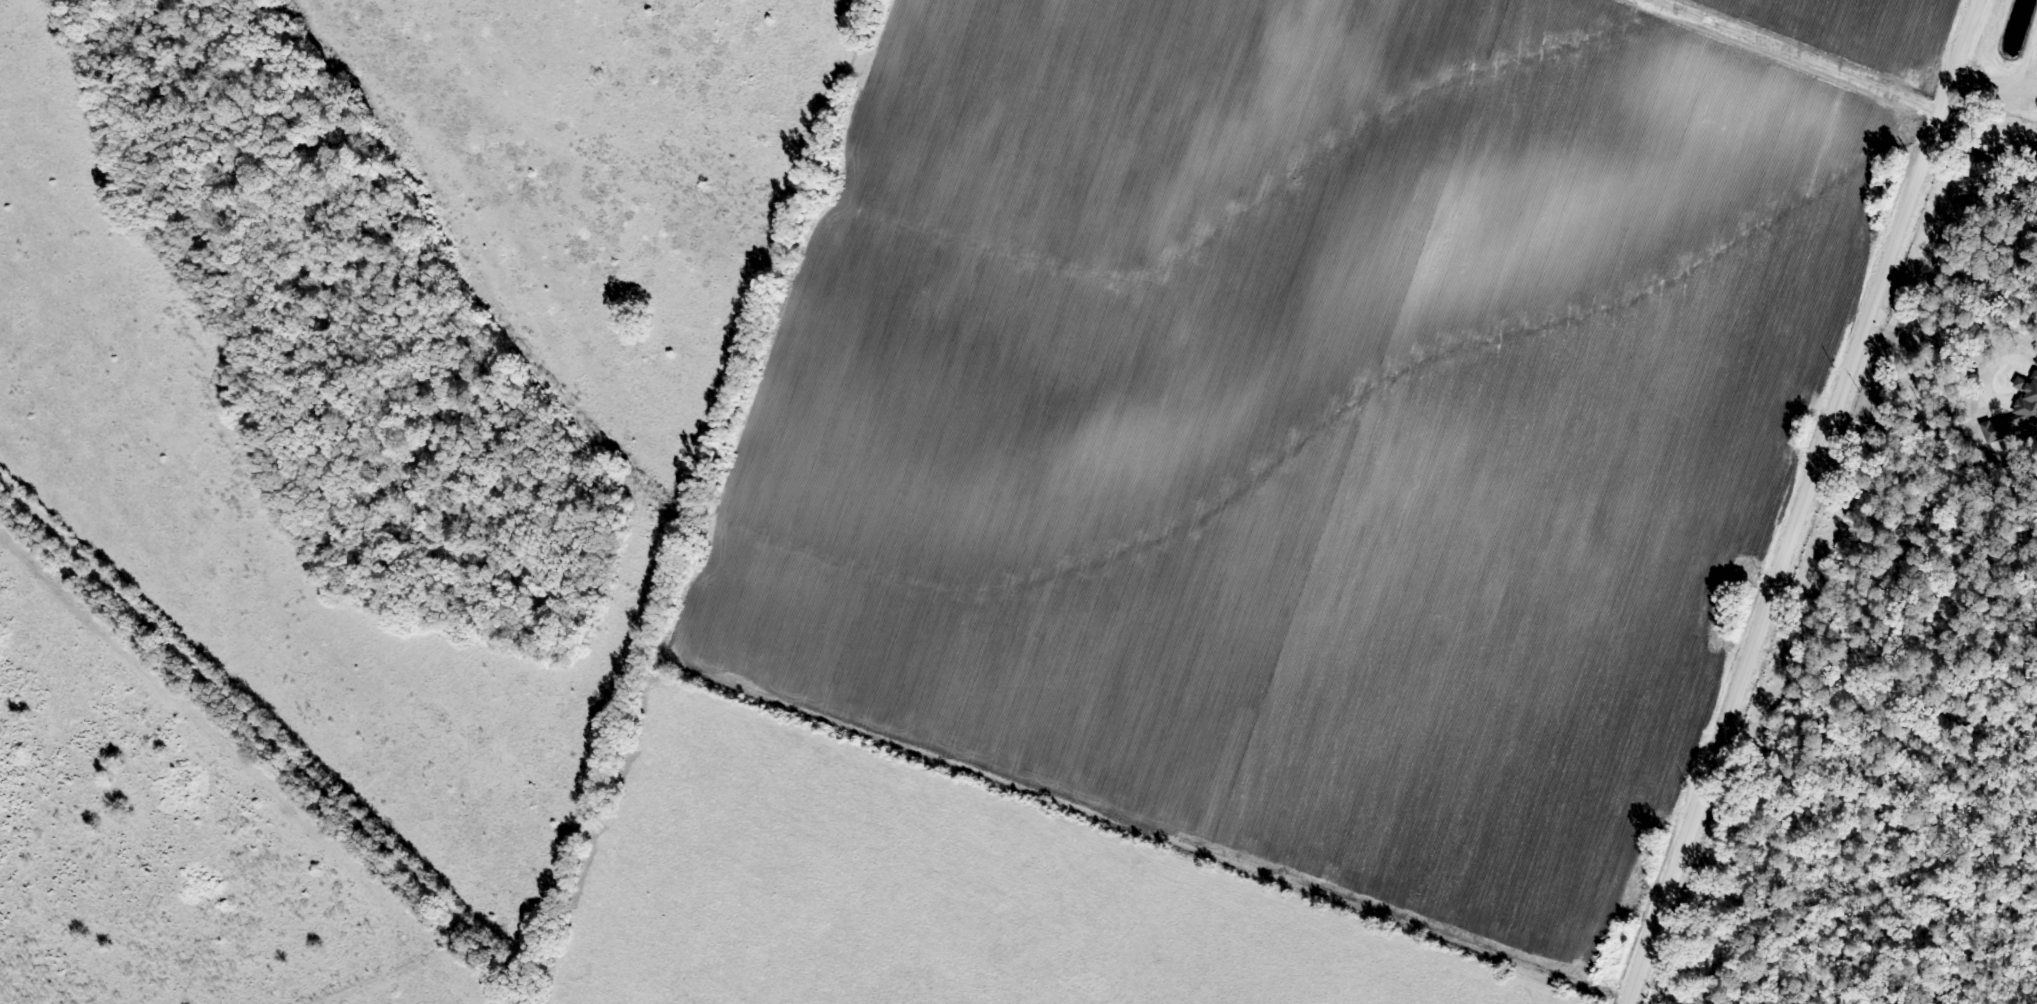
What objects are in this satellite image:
road: (2011, 75)
road: (1963, 351)
road: (2025, 378)
road: (1997, 390)
building: (2026, 412)
road: (1814, 502)

